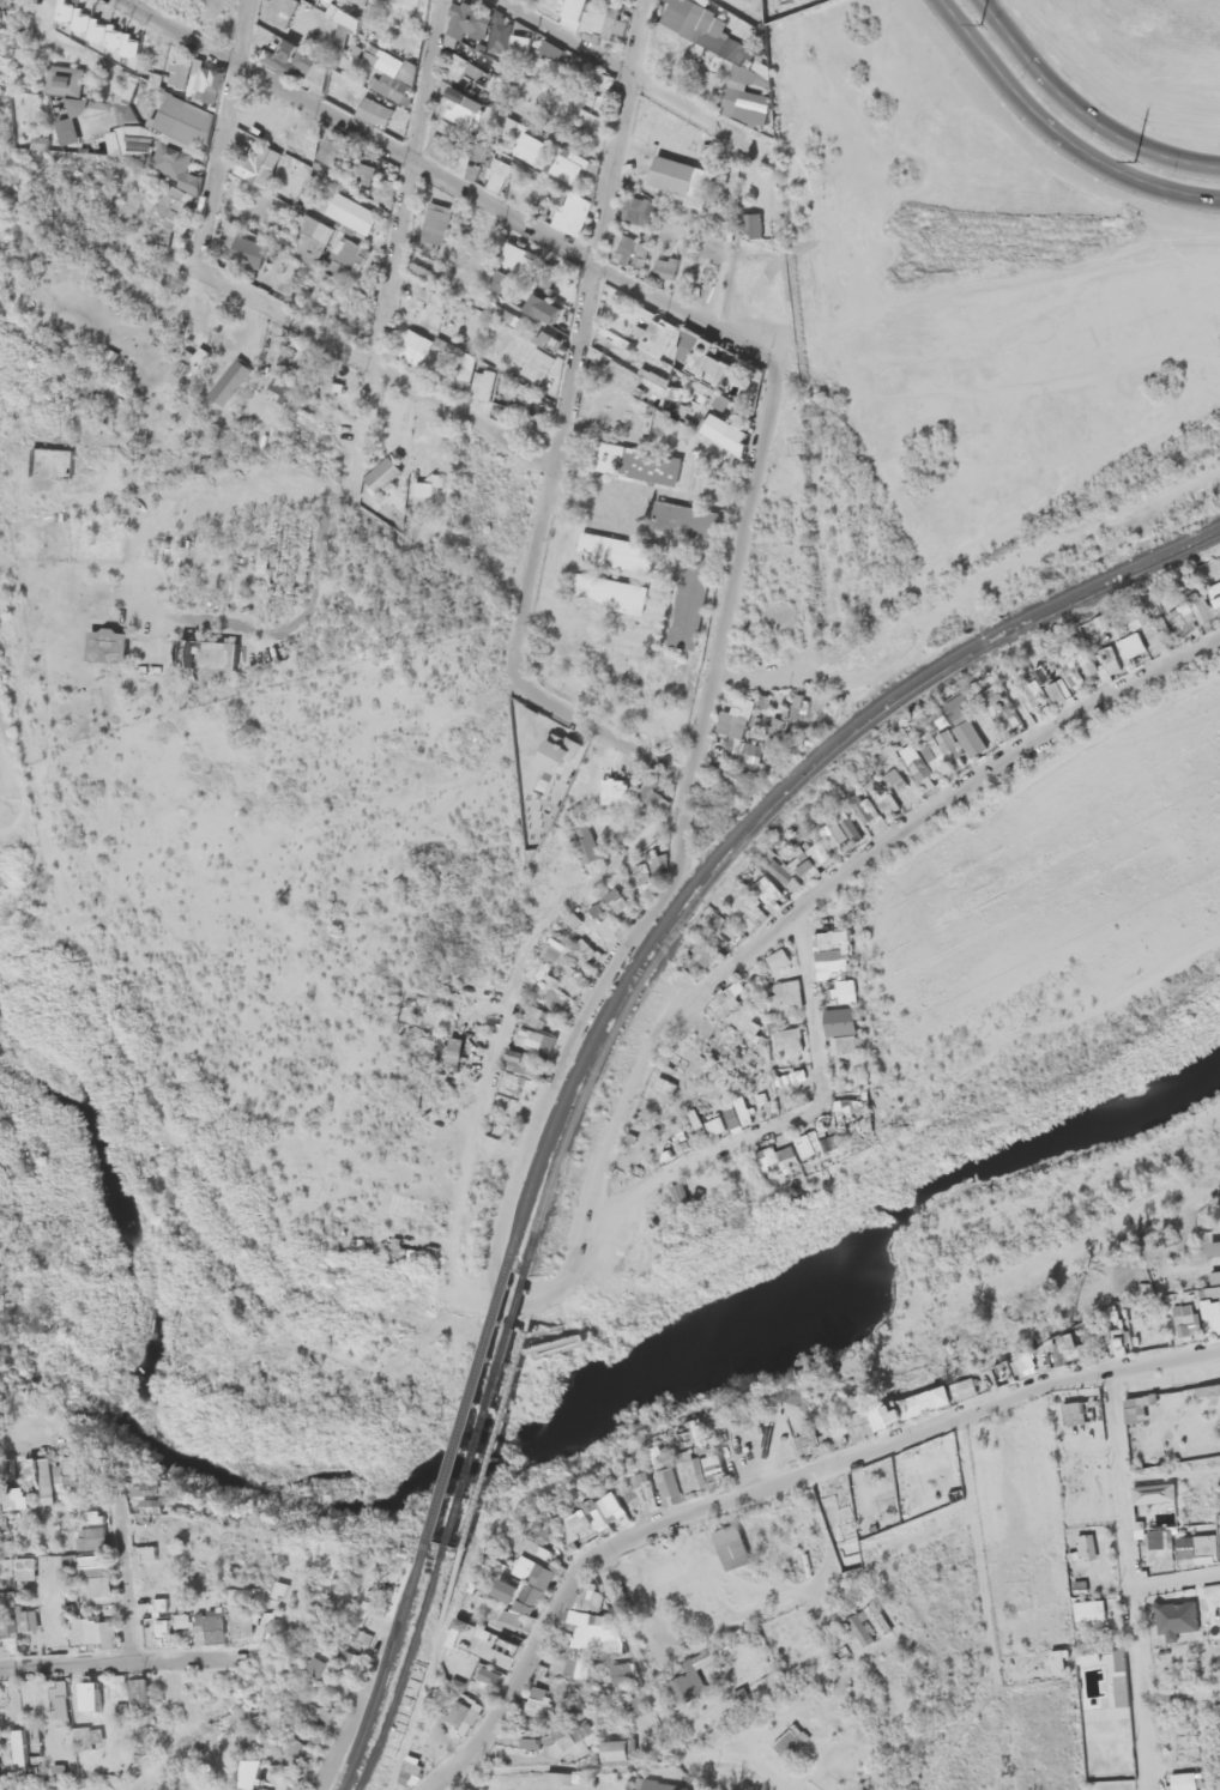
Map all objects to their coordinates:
river: (497, 1459)

